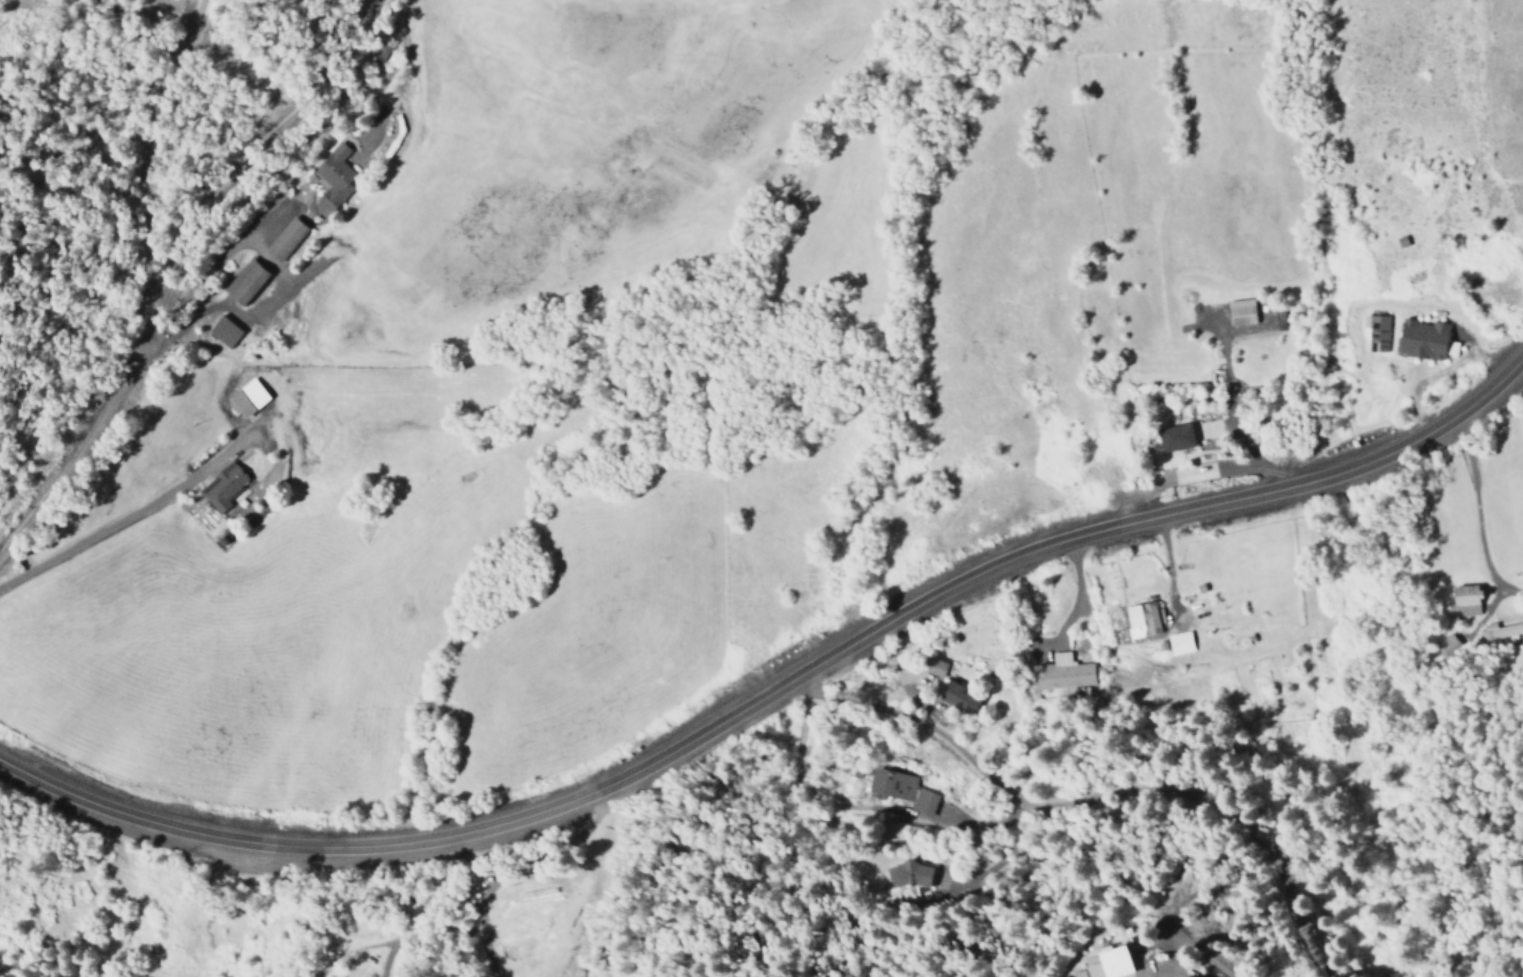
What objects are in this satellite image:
road: (5, 5)
road: (242, 166)
building: (333, 177)
building: (284, 239)
building: (244, 282)
road: (147, 294)
building: (1240, 312)
building: (223, 332)
building: (1376, 333)
building: (1425, 340)
building: (246, 398)
building: (1175, 438)
building: (222, 486)
road: (1474, 512)
building: (1463, 601)
building: (1141, 620)
building: (1498, 632)
building: (1179, 643)
building: (933, 667)
building: (1061, 675)
road: (777, 686)
building: (956, 697)
building: (902, 790)
road: (1090, 814)
building: (908, 875)
building: (1106, 964)
road: (1164, 974)

